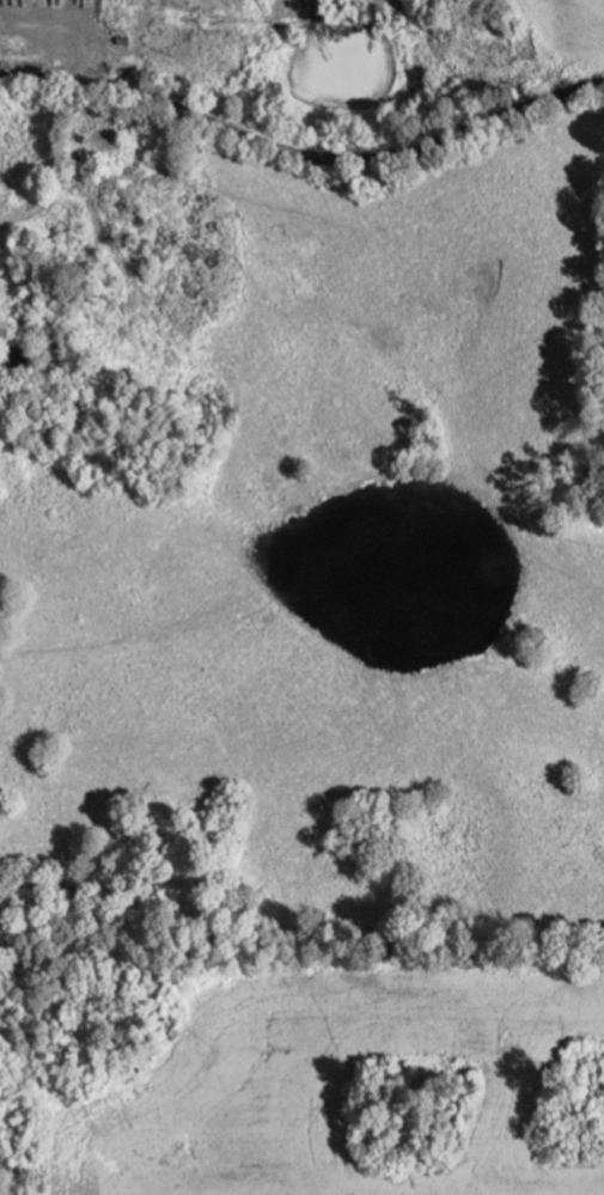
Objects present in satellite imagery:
road: (301, 151)

